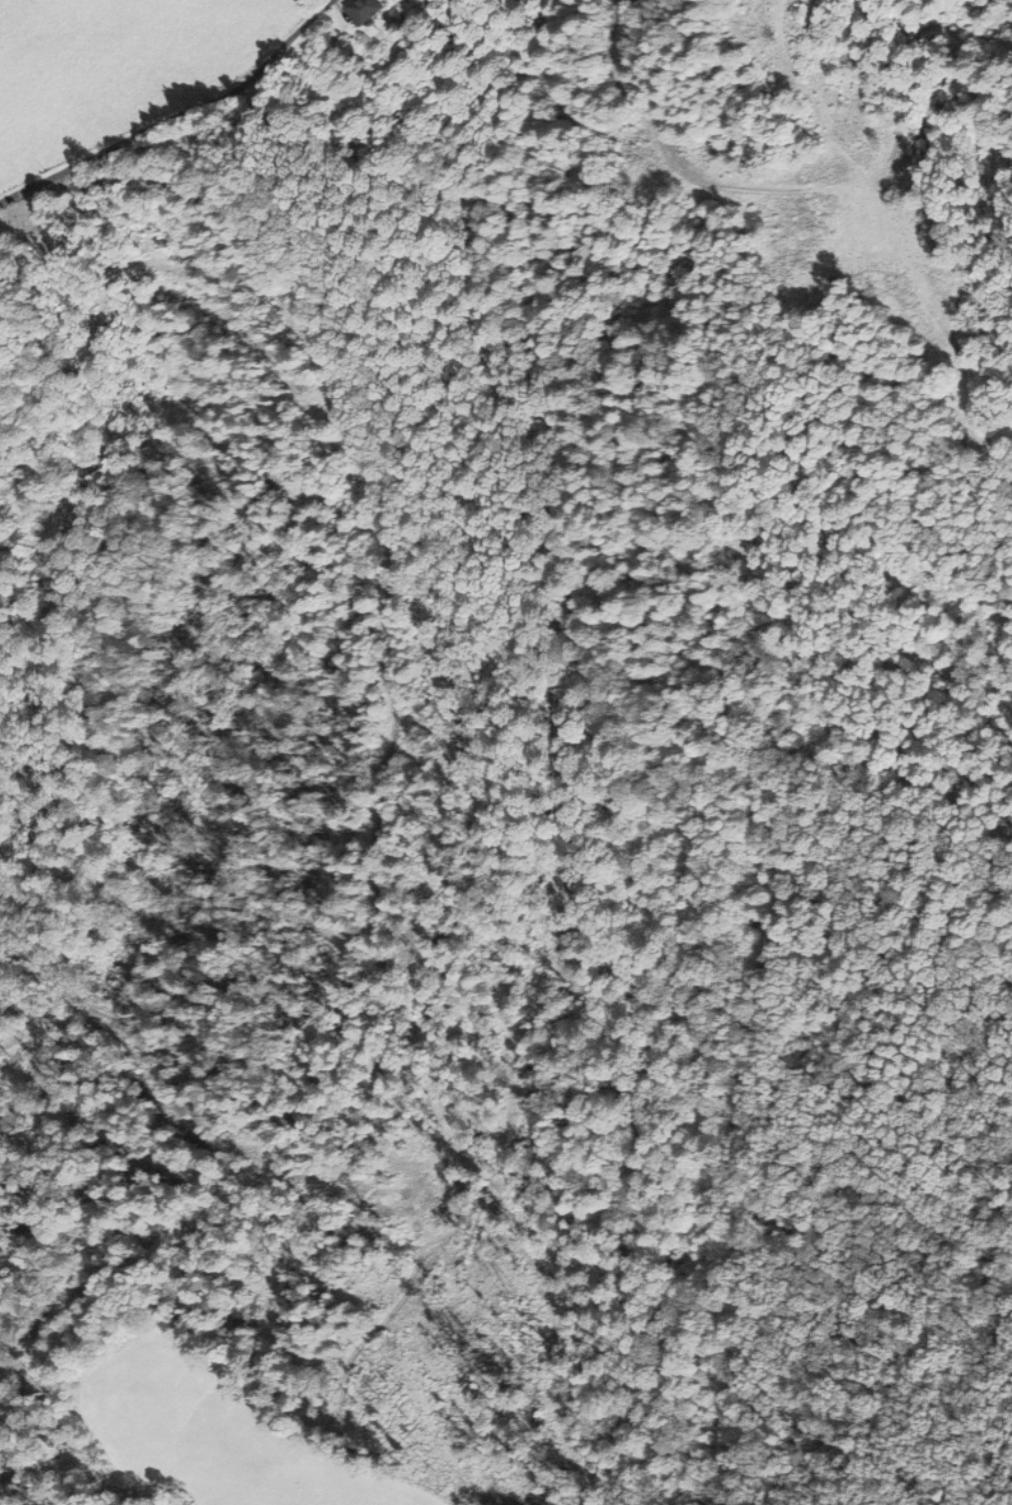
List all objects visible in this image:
road: (344, 9)
building: (365, 10)
road: (177, 120)

